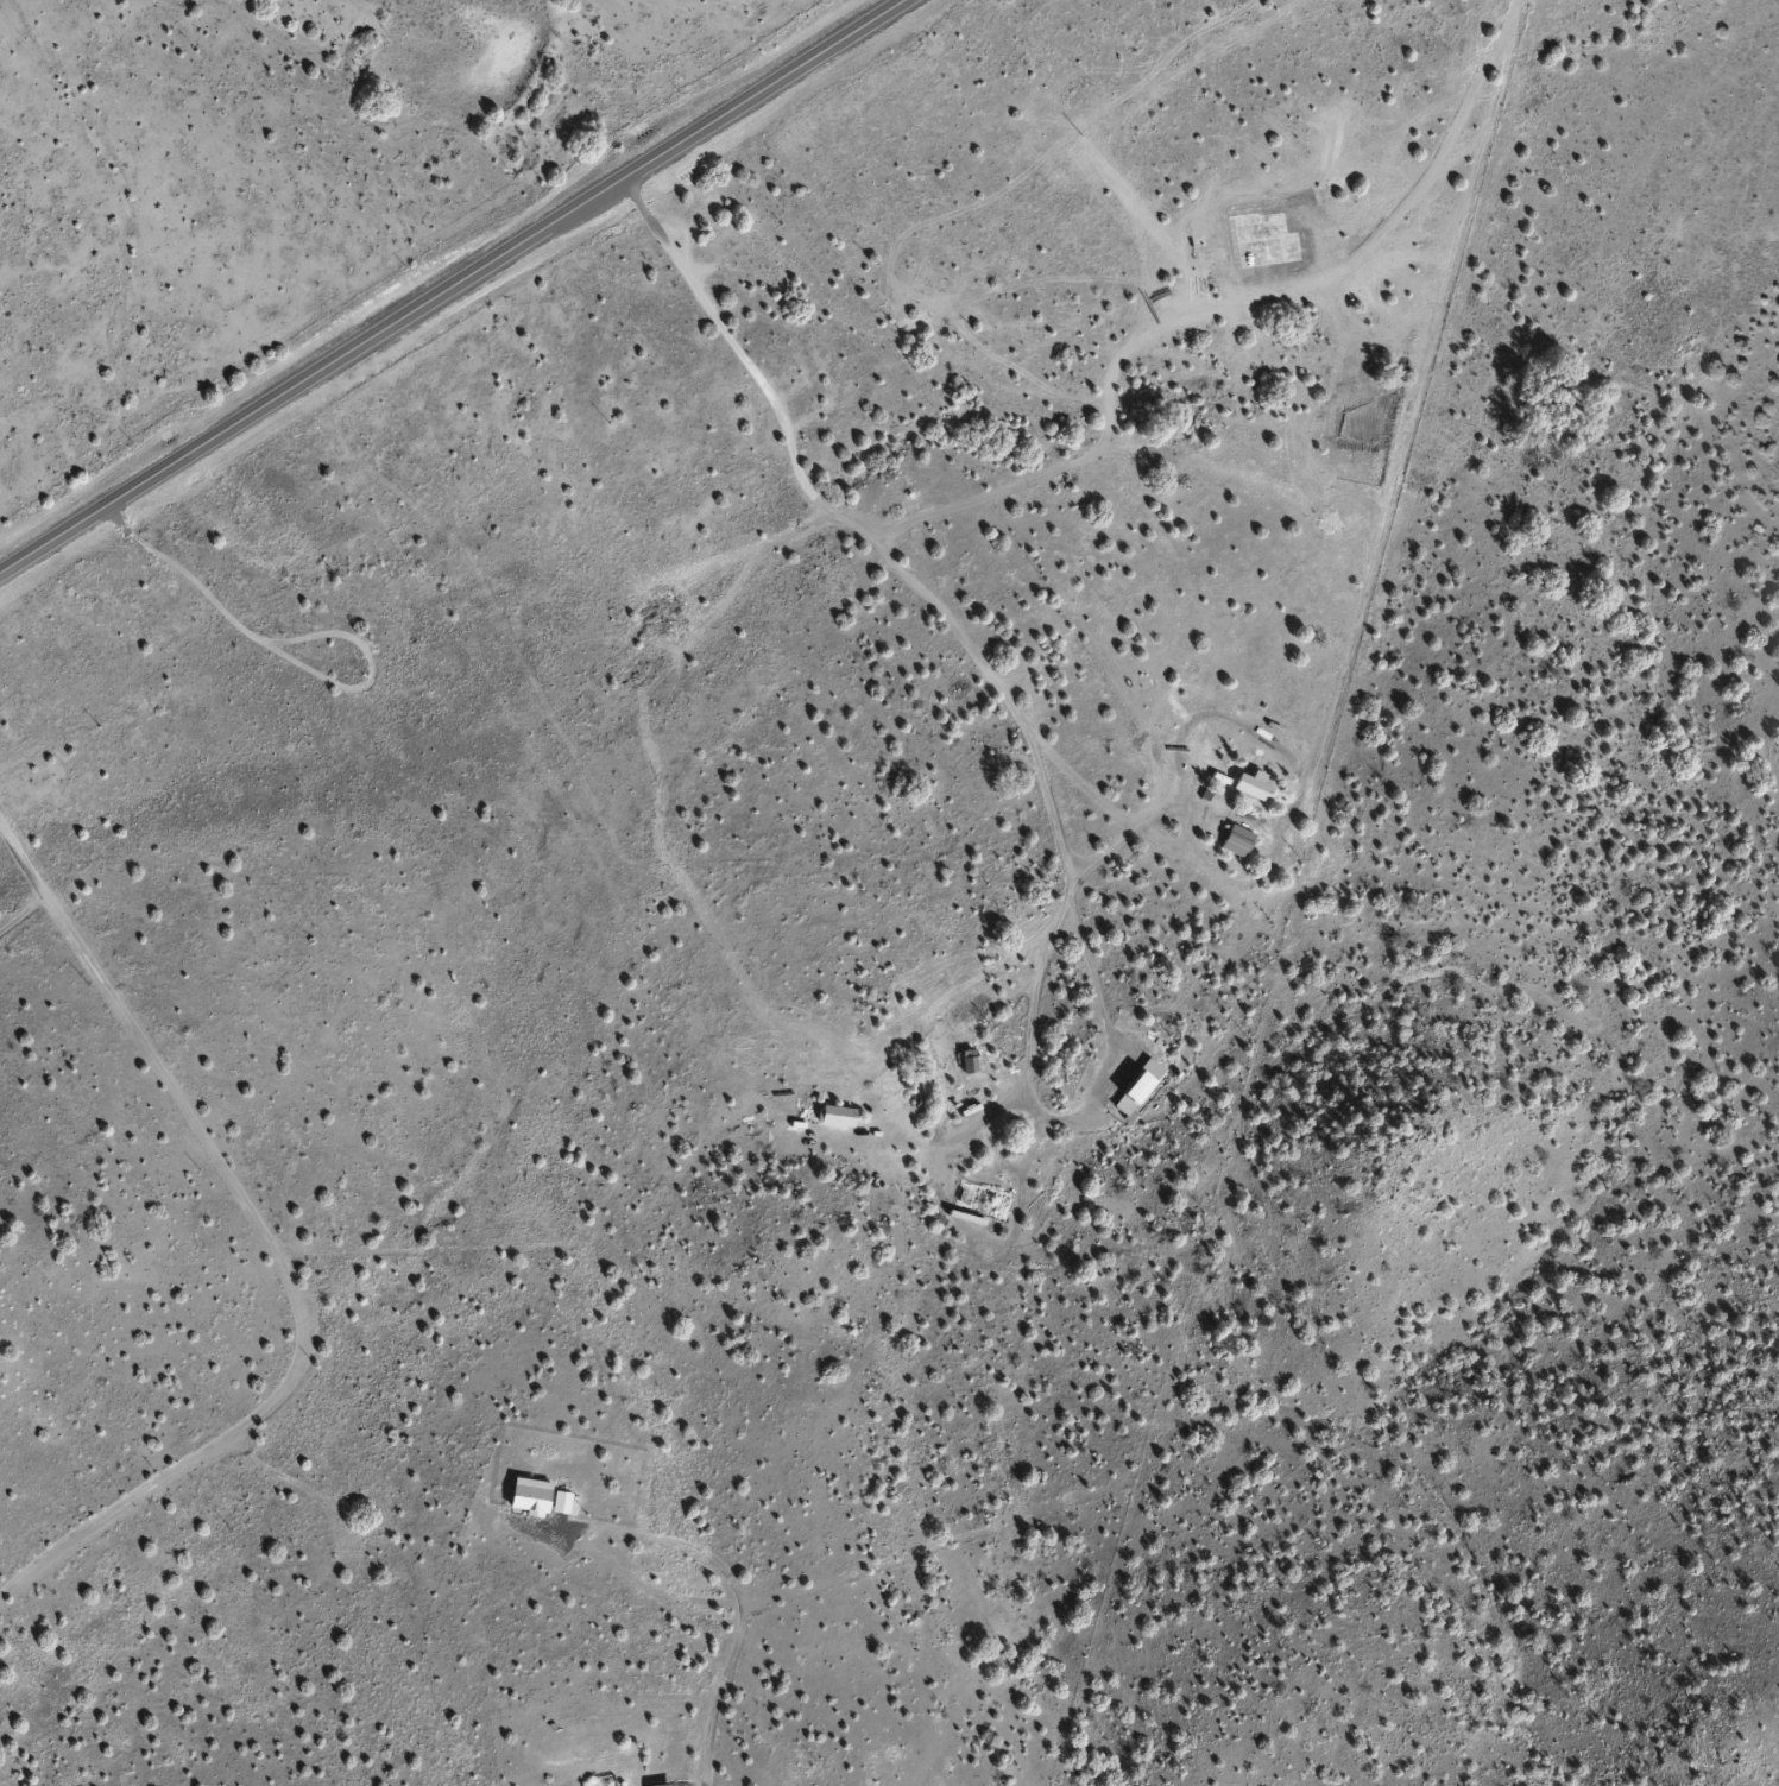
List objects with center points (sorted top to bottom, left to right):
road: (450, 285)
road: (1046, 668)
building: (1248, 789)
building: (1237, 840)
building: (1135, 1086)
road: (271, 1239)

